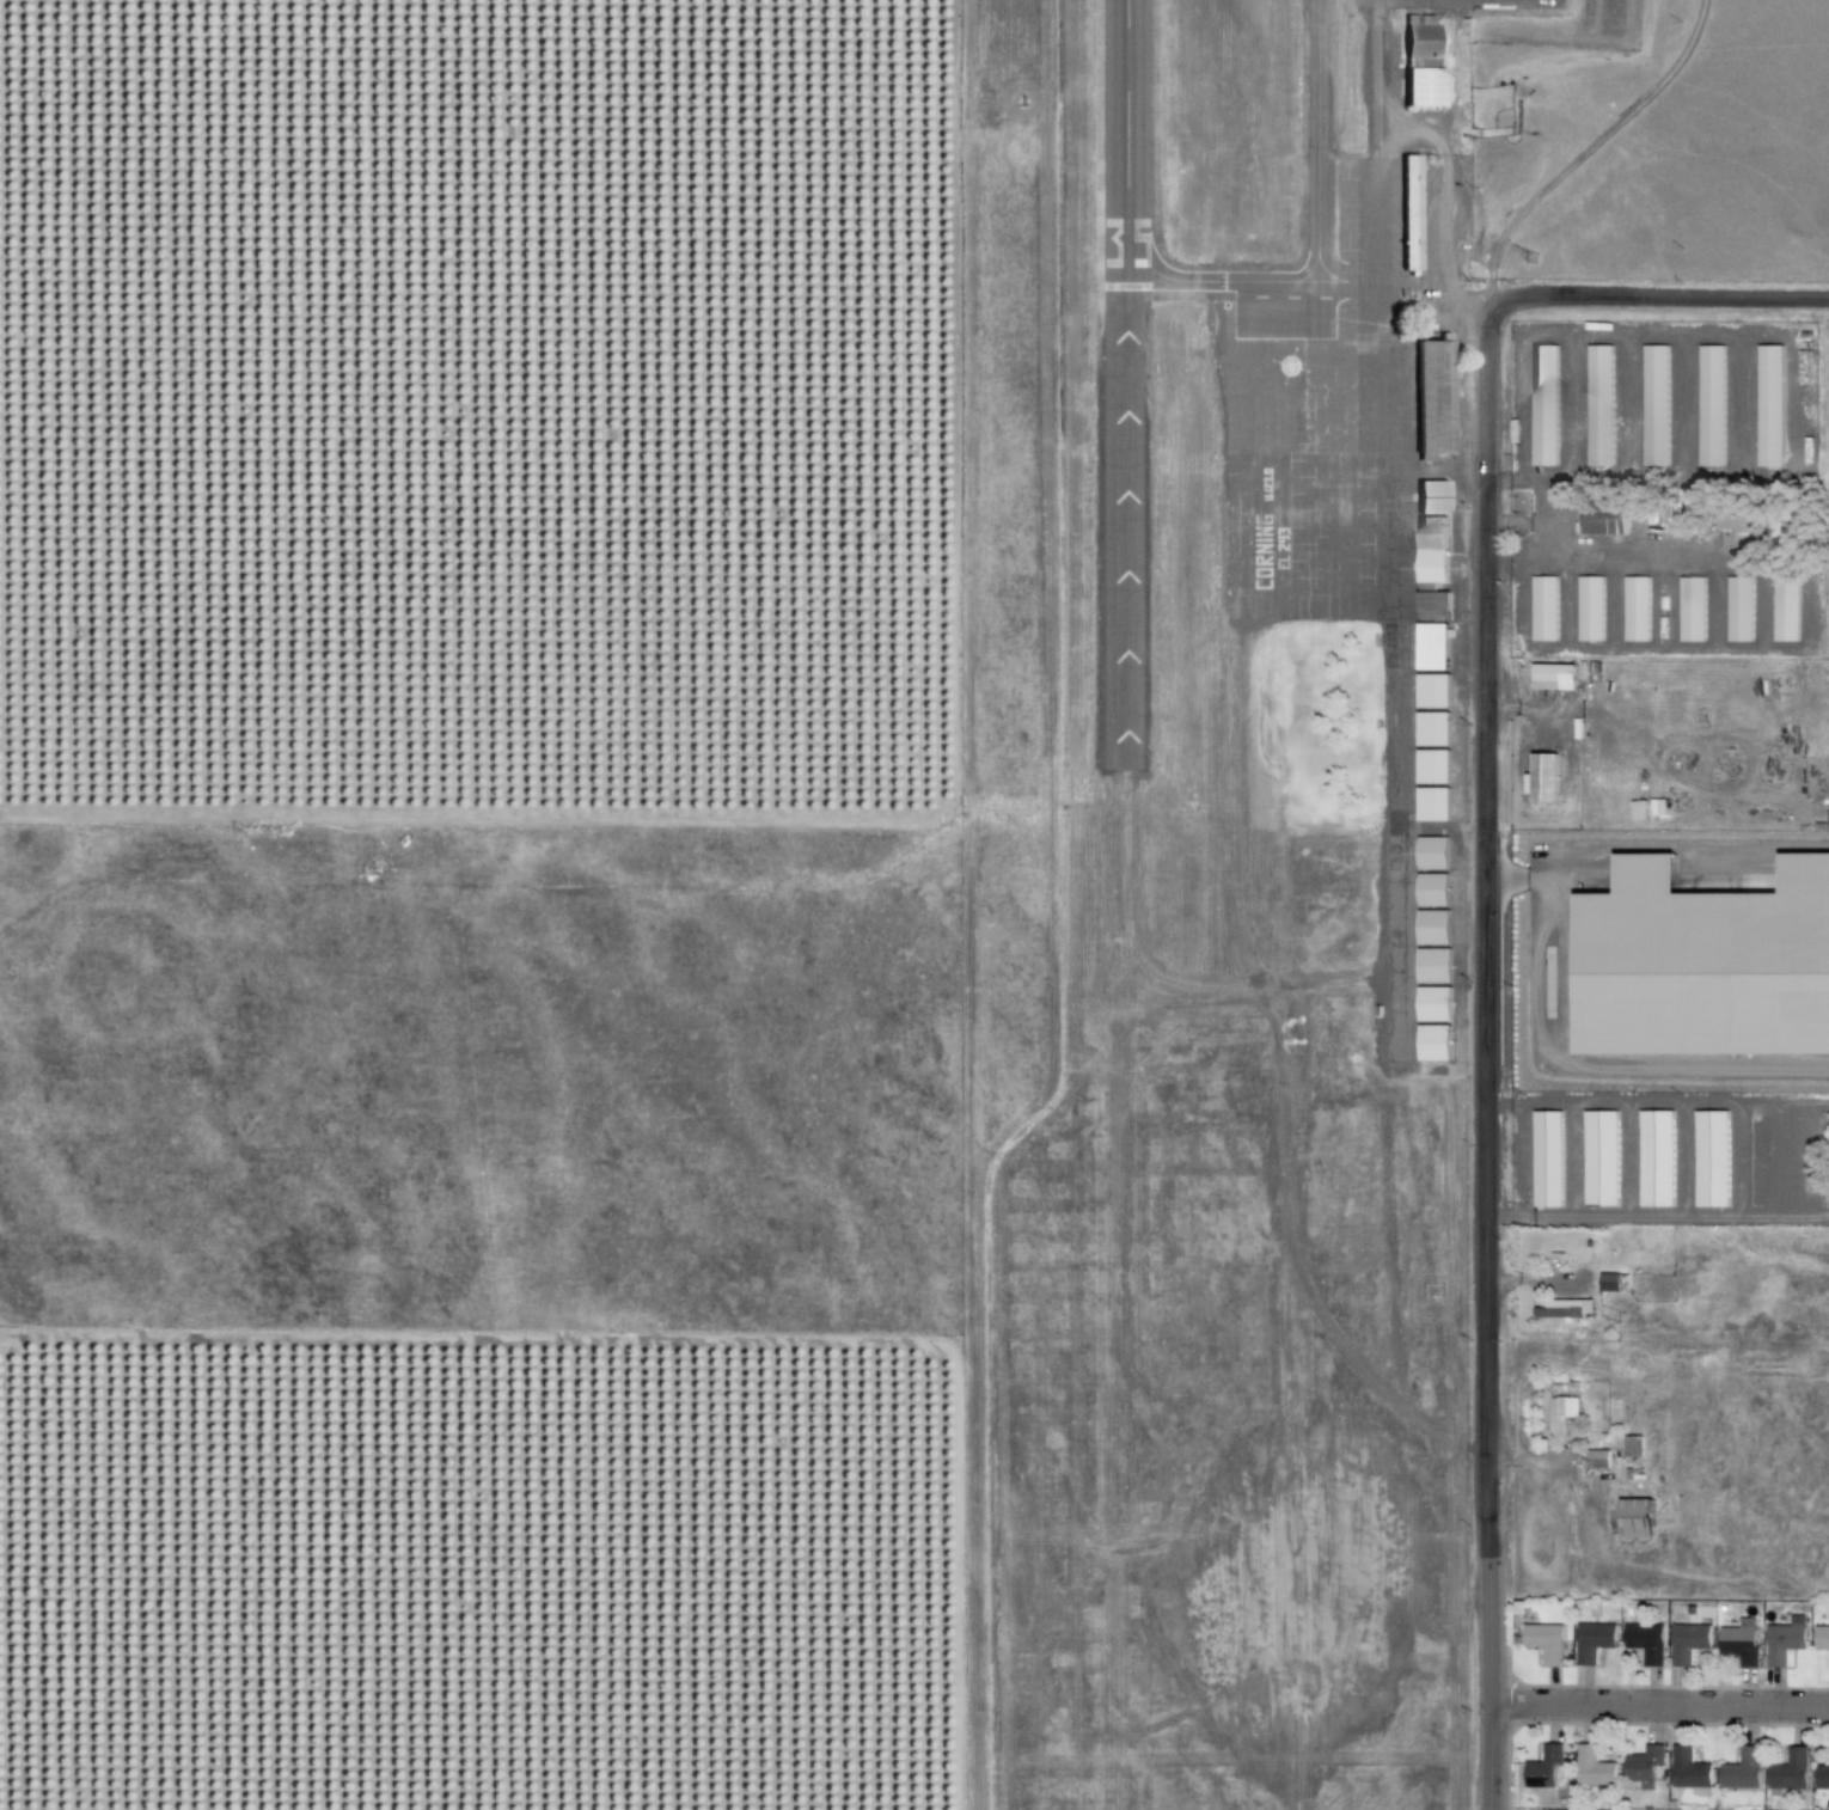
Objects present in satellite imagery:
building: (1419, 62)
building: (1408, 213)
road: (1650, 295)
road: (1782, 332)
building: (1431, 398)
road: (1683, 404)
road: (1741, 404)
building: (1542, 405)
road: (1572, 405)
building: (1598, 405)
road: (1627, 405)
building: (1653, 405)
building: (1709, 405)
building: (1768, 405)
airport runway: (1121, 493)
building: (1430, 497)
building: (1602, 519)
building: (1743, 544)
building: (1430, 569)
road: (1718, 604)
road: (1763, 604)
road: (1565, 605)
road: (1615, 605)
road: (1666, 605)
building: (1542, 609)
building: (1588, 609)
building: (1634, 609)
building: (1690, 610)
building: (1738, 610)
building: (1784, 610)
road: (1723, 646)
building: (1431, 647)
building: (1552, 677)
building: (1432, 691)
building: (1431, 729)
building: (1432, 768)
building: (1542, 779)
building: (1432, 805)
building: (1431, 854)
building: (1431, 891)
airport: (1213, 892)
building: (1432, 928)
building: (1433, 966)
building: (1701, 974)
building: (1433, 1005)
building: (1433, 1044)
road: (1482, 1064)
road: (1785, 1101)
road: (1742, 1121)
building: (1599, 1157)
building: (1711, 1157)
building: (1546, 1158)
road: (1576, 1158)
road: (1626, 1158)
building: (1654, 1158)
road: (1687, 1158)
road: (1785, 1217)
building: (1611, 1283)
building: (1564, 1308)
building: (1560, 1413)
building: (1632, 1445)
building: (1597, 1459)
building: (1634, 1517)
building: (1821, 1638)
building: (1592, 1640)
building: (1785, 1640)
building: (1544, 1641)
building: (1645, 1641)
building: (1687, 1643)
building: (1739, 1643)
road: (1657, 1707)
building: (1641, 1763)
building: (1542, 1767)
building: (1591, 1767)
building: (1741, 1769)
building: (1688, 1771)
building: (1787, 1772)
building: (1822, 1777)

